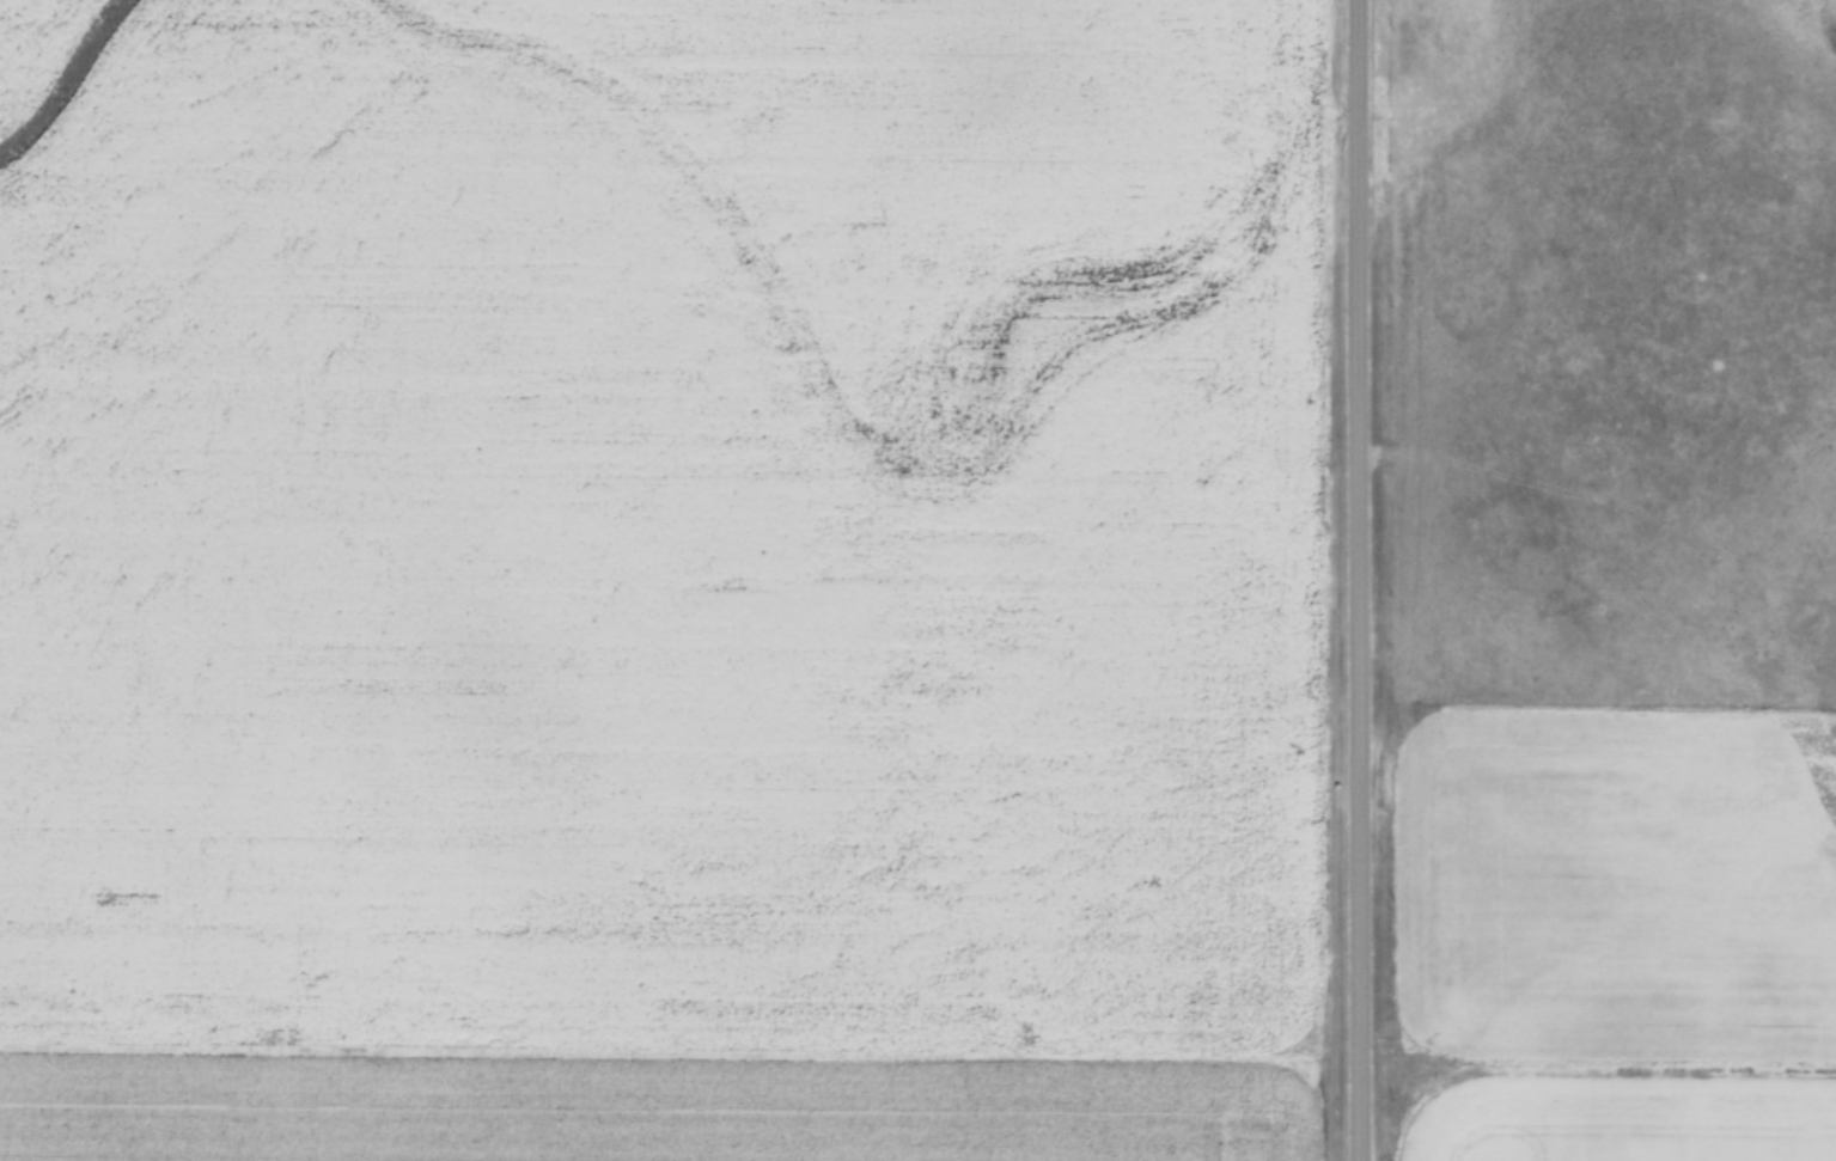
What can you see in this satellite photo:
road: (1360, 580)

